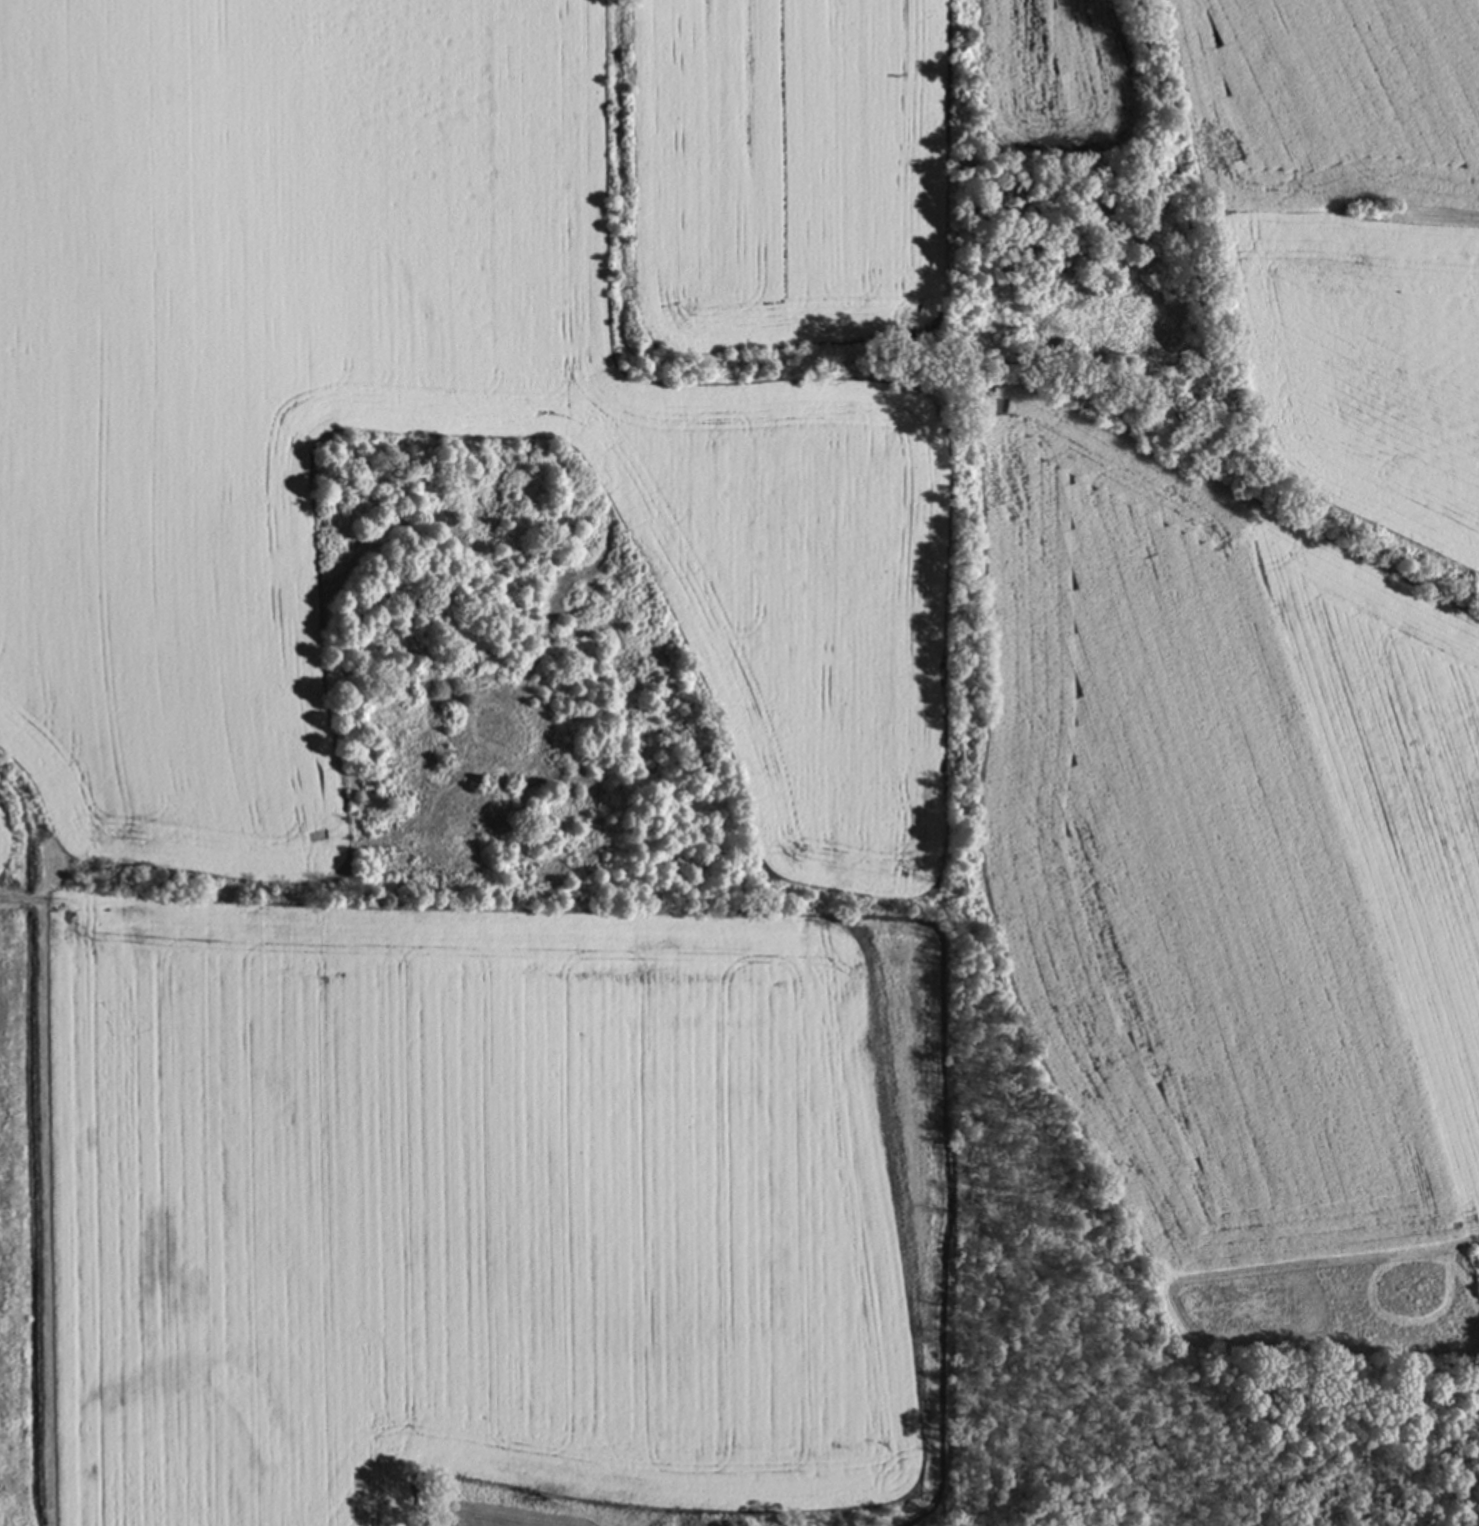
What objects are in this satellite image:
crop: (794, 170)

